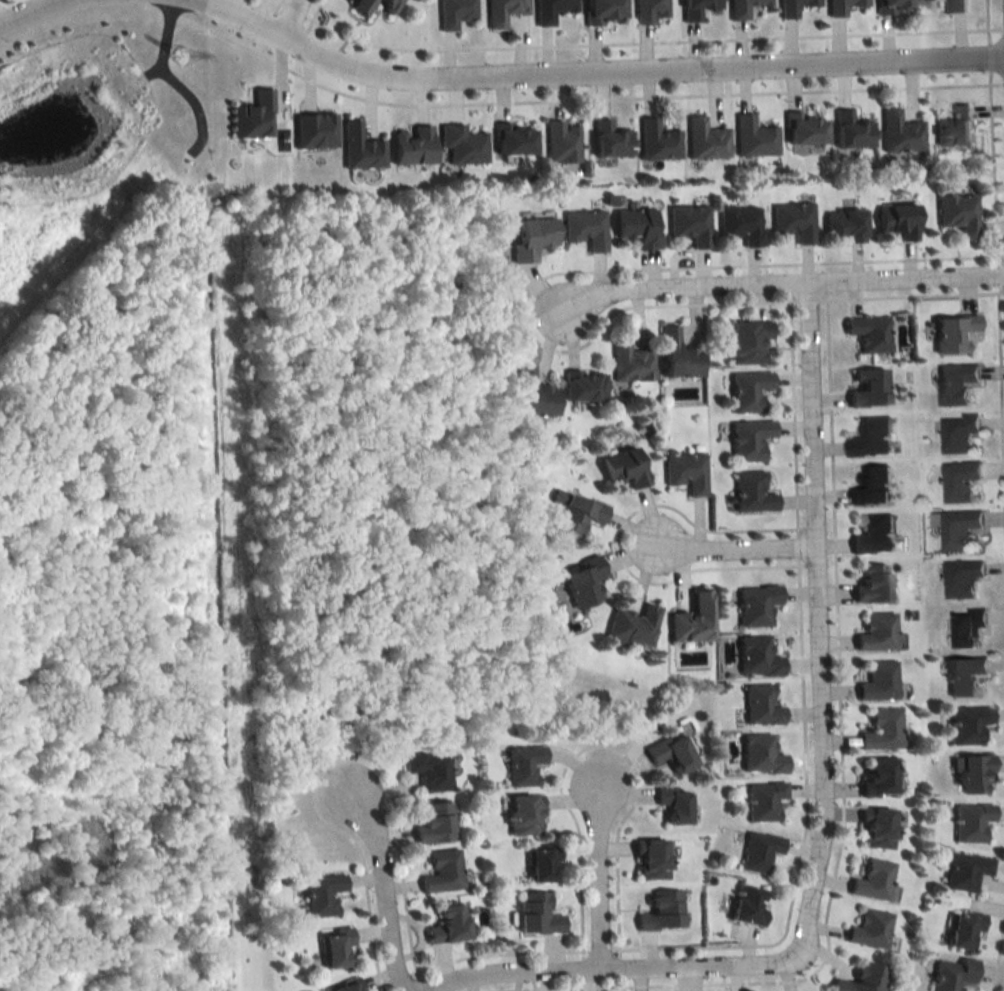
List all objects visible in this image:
road: (277, 3)
building: (386, 4)
building: (359, 5)
building: (840, 5)
building: (888, 5)
building: (958, 5)
building: (792, 6)
road: (273, 7)
building: (695, 7)
building: (741, 7)
building: (549, 9)
building: (648, 9)
road: (24, 10)
building: (599, 10)
road: (290, 11)
building: (453, 11)
building: (501, 11)
road: (309, 16)
road: (288, 17)
road: (986, 22)
road: (1003, 28)
road: (161, 41)
road: (647, 42)
road: (989, 56)
power tower: (177, 57)
road: (597, 73)
road: (1003, 83)
road: (596, 98)
road: (194, 109)
building: (253, 117)
building: (953, 127)
building: (802, 128)
building: (311, 130)
building: (849, 131)
building: (897, 132)
building: (752, 137)
building: (511, 139)
building: (704, 139)
building: (608, 140)
building: (655, 141)
building: (560, 142)
building: (408, 145)
building: (460, 145)
building: (358, 148)
road: (992, 167)
building: (956, 214)
building: (896, 220)
building: (792, 221)
building: (688, 224)
building: (740, 224)
building: (842, 225)
building: (633, 227)
building: (583, 229)
building: (529, 237)
road: (593, 270)
road: (1002, 274)
road: (792, 281)
road: (568, 291)
road: (910, 296)
road: (806, 299)
building: (867, 333)
building: (952, 333)
building: (744, 341)
building: (674, 355)
building: (629, 361)
building: (955, 383)
building: (582, 386)
building: (865, 387)
building: (746, 390)
building: (530, 394)
road: (999, 407)
road: (792, 414)
building: (958, 433)
building: (870, 438)
building: (747, 439)
building: (621, 467)
building: (684, 472)
building: (960, 481)
building: (871, 487)
building: (750, 492)
building: (574, 514)
road: (666, 523)
building: (958, 529)
building: (873, 536)
road: (615, 542)
road: (796, 546)
road: (746, 547)
building: (962, 579)
building: (580, 582)
building: (870, 583)
building: (754, 605)
building: (688, 620)
building: (630, 626)
building: (966, 627)
building: (875, 633)
building: (755, 657)
building: (964, 675)
building: (877, 681)
building: (759, 706)
building: (966, 724)
building: (879, 730)
road: (596, 744)
building: (667, 753)
road: (334, 756)
building: (758, 756)
building: (521, 765)
building: (427, 770)
road: (614, 772)
building: (973, 774)
building: (875, 777)
road: (372, 782)
road: (840, 798)
building: (762, 801)
building: (671, 804)
road: (822, 809)
building: (520, 815)
building: (969, 822)
building: (431, 823)
building: (874, 828)
road: (801, 834)
building: (757, 852)
building: (647, 859)
building: (537, 863)
building: (439, 871)
building: (962, 872)
building: (870, 880)
road: (598, 890)
building: (319, 895)
road: (380, 906)
building: (743, 906)
building: (658, 911)
building: (533, 915)
building: (444, 925)
building: (960, 928)
building: (868, 929)
road: (997, 947)
building: (331, 949)
road: (598, 950)
road: (495, 951)
building: (951, 975)
building: (859, 979)
road: (419, 984)
building: (343, 987)

